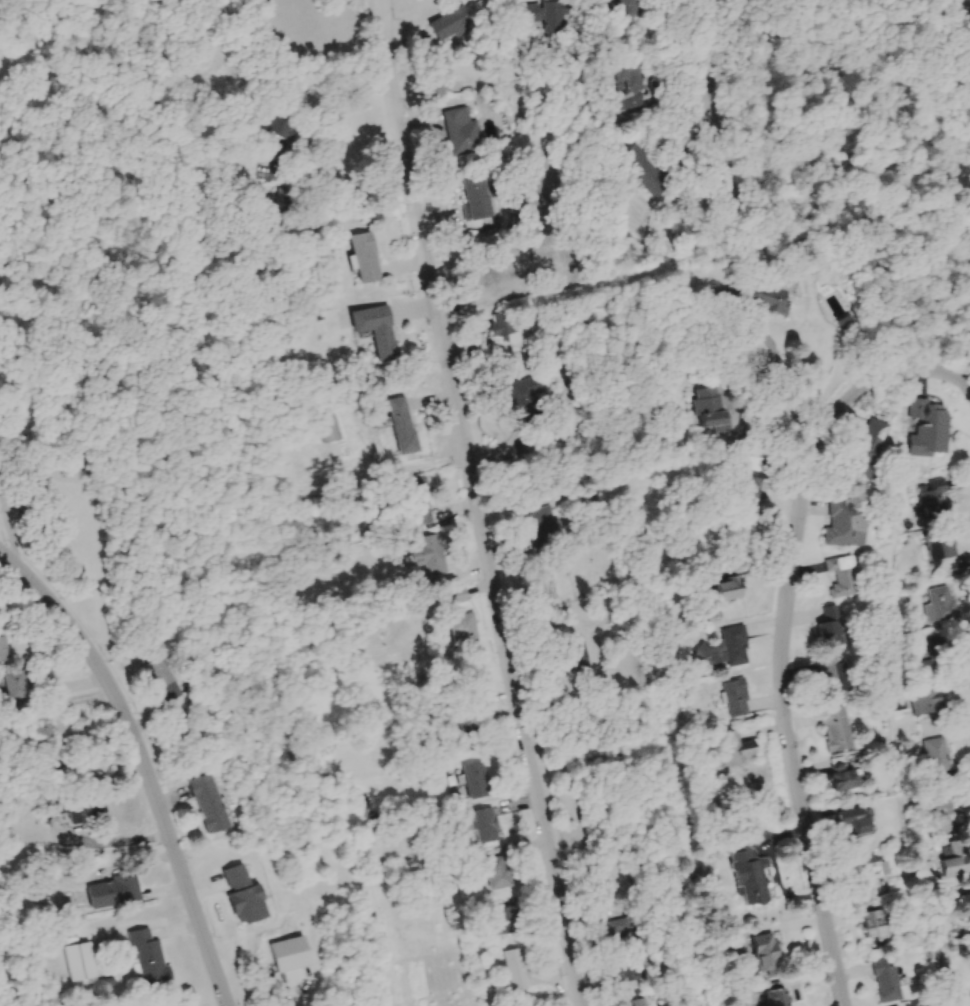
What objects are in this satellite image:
building: (638, 8)
building: (552, 16)
building: (452, 25)
road: (706, 52)
building: (635, 86)
road: (327, 122)
building: (463, 132)
building: (285, 133)
building: (650, 174)
building: (731, 195)
building: (478, 198)
building: (367, 257)
building: (776, 299)
building: (507, 329)
building: (385, 337)
road: (772, 362)
road: (941, 371)
building: (527, 398)
building: (713, 408)
building: (331, 424)
building: (404, 427)
building: (934, 427)
building: (873, 443)
building: (754, 475)
building: (939, 497)
building: (420, 501)
road: (477, 503)
building: (843, 530)
building: (840, 579)
building: (938, 603)
building: (732, 646)
road: (782, 663)
building: (736, 698)
building: (837, 736)
building: (732, 748)
building: (934, 758)
road: (144, 762)
building: (840, 775)
building: (474, 780)
building: (207, 803)
building: (937, 803)
building: (83, 809)
building: (851, 821)
building: (484, 825)
road: (110, 842)
building: (953, 859)
road: (628, 865)
building: (867, 869)
building: (496, 872)
building: (748, 873)
building: (112, 891)
building: (241, 895)
building: (964, 903)
building: (505, 920)
building: (873, 925)
building: (619, 929)
building: (289, 953)
building: (765, 953)
building: (146, 958)
building: (79, 961)
building: (513, 969)
building: (884, 981)
building: (775, 997)
building: (639, 1002)

